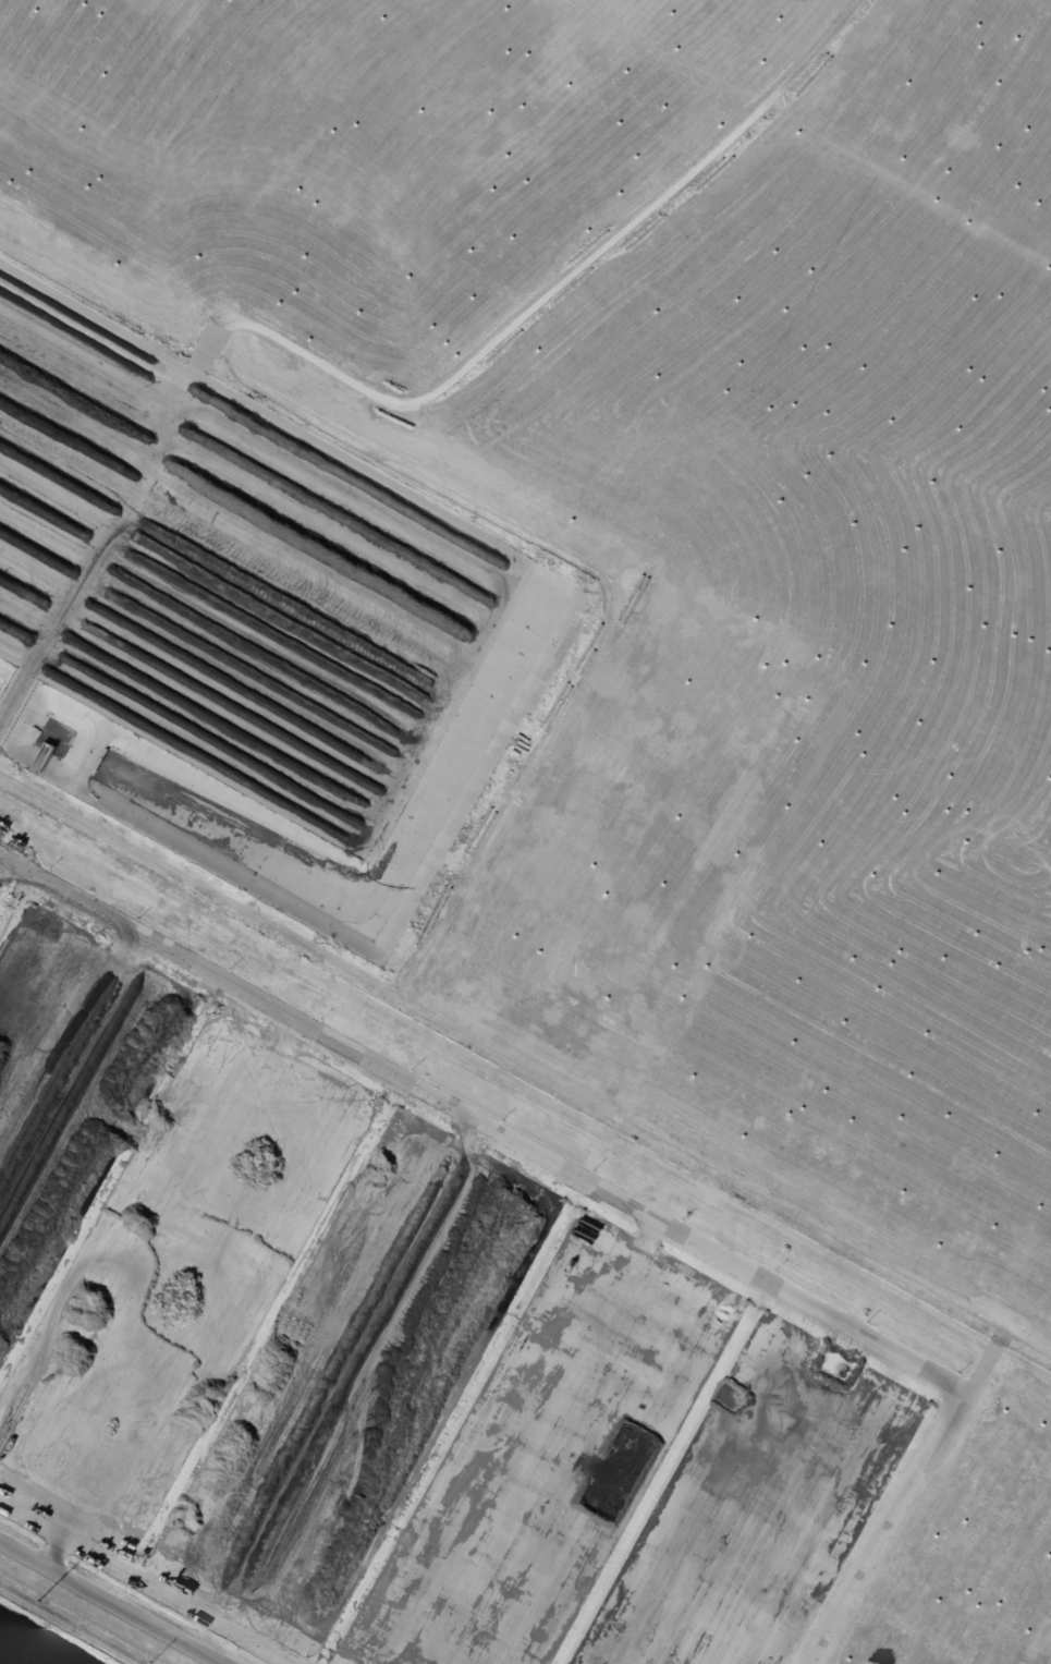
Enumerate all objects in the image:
crop: (685, 575)
wastewater plant: (350, 1113)
road: (619, 1193)
road: (110, 1602)
road: (62, 1629)

